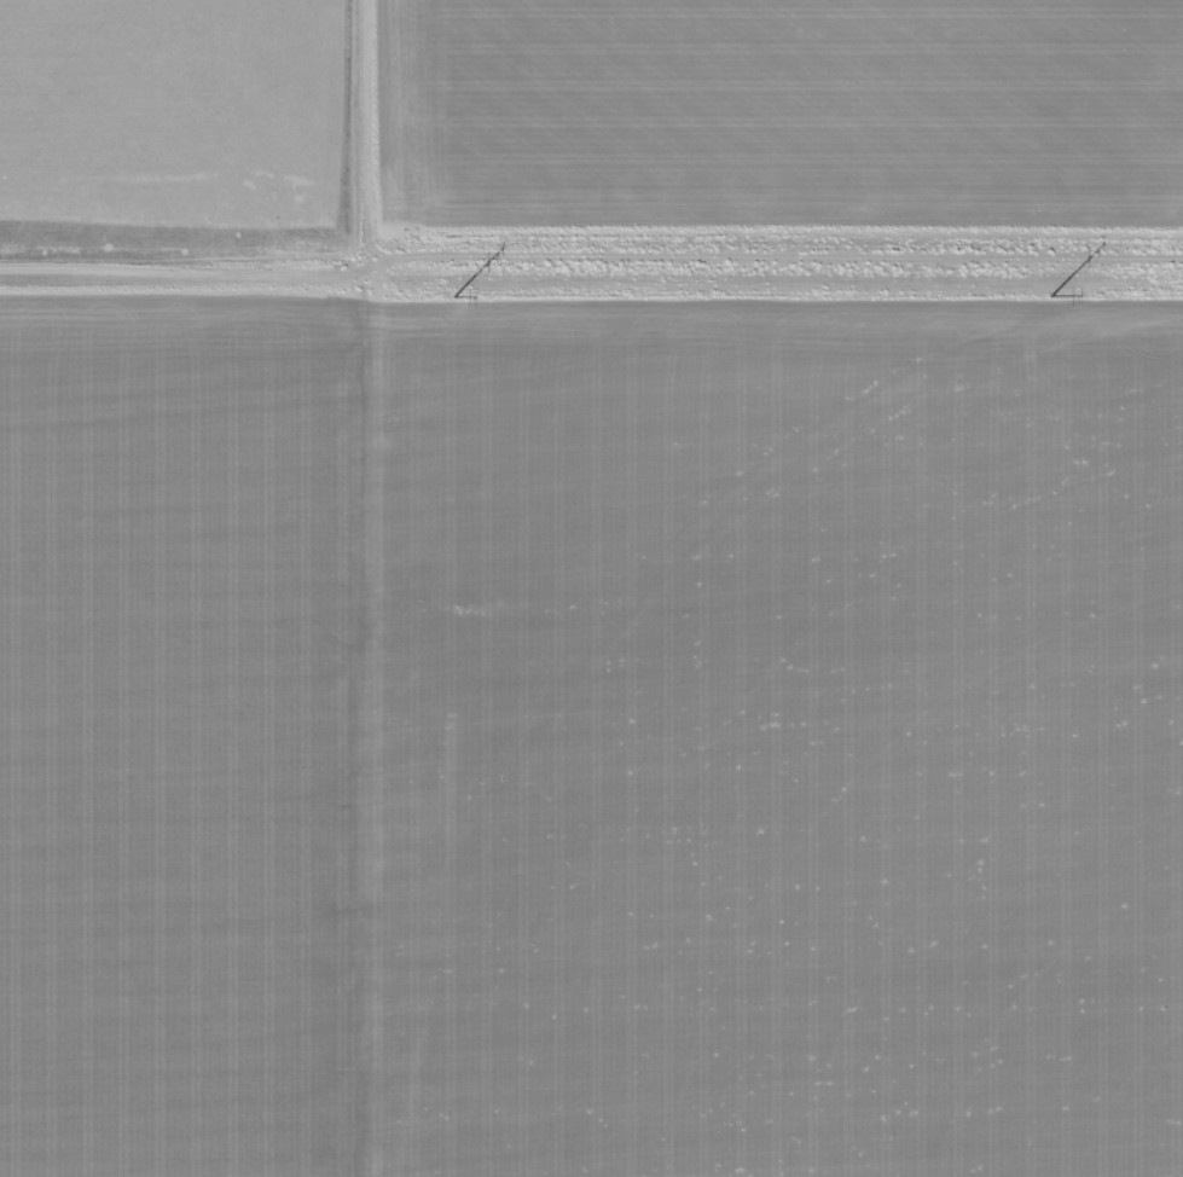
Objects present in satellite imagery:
road: (591, 260)
road: (366, 588)

